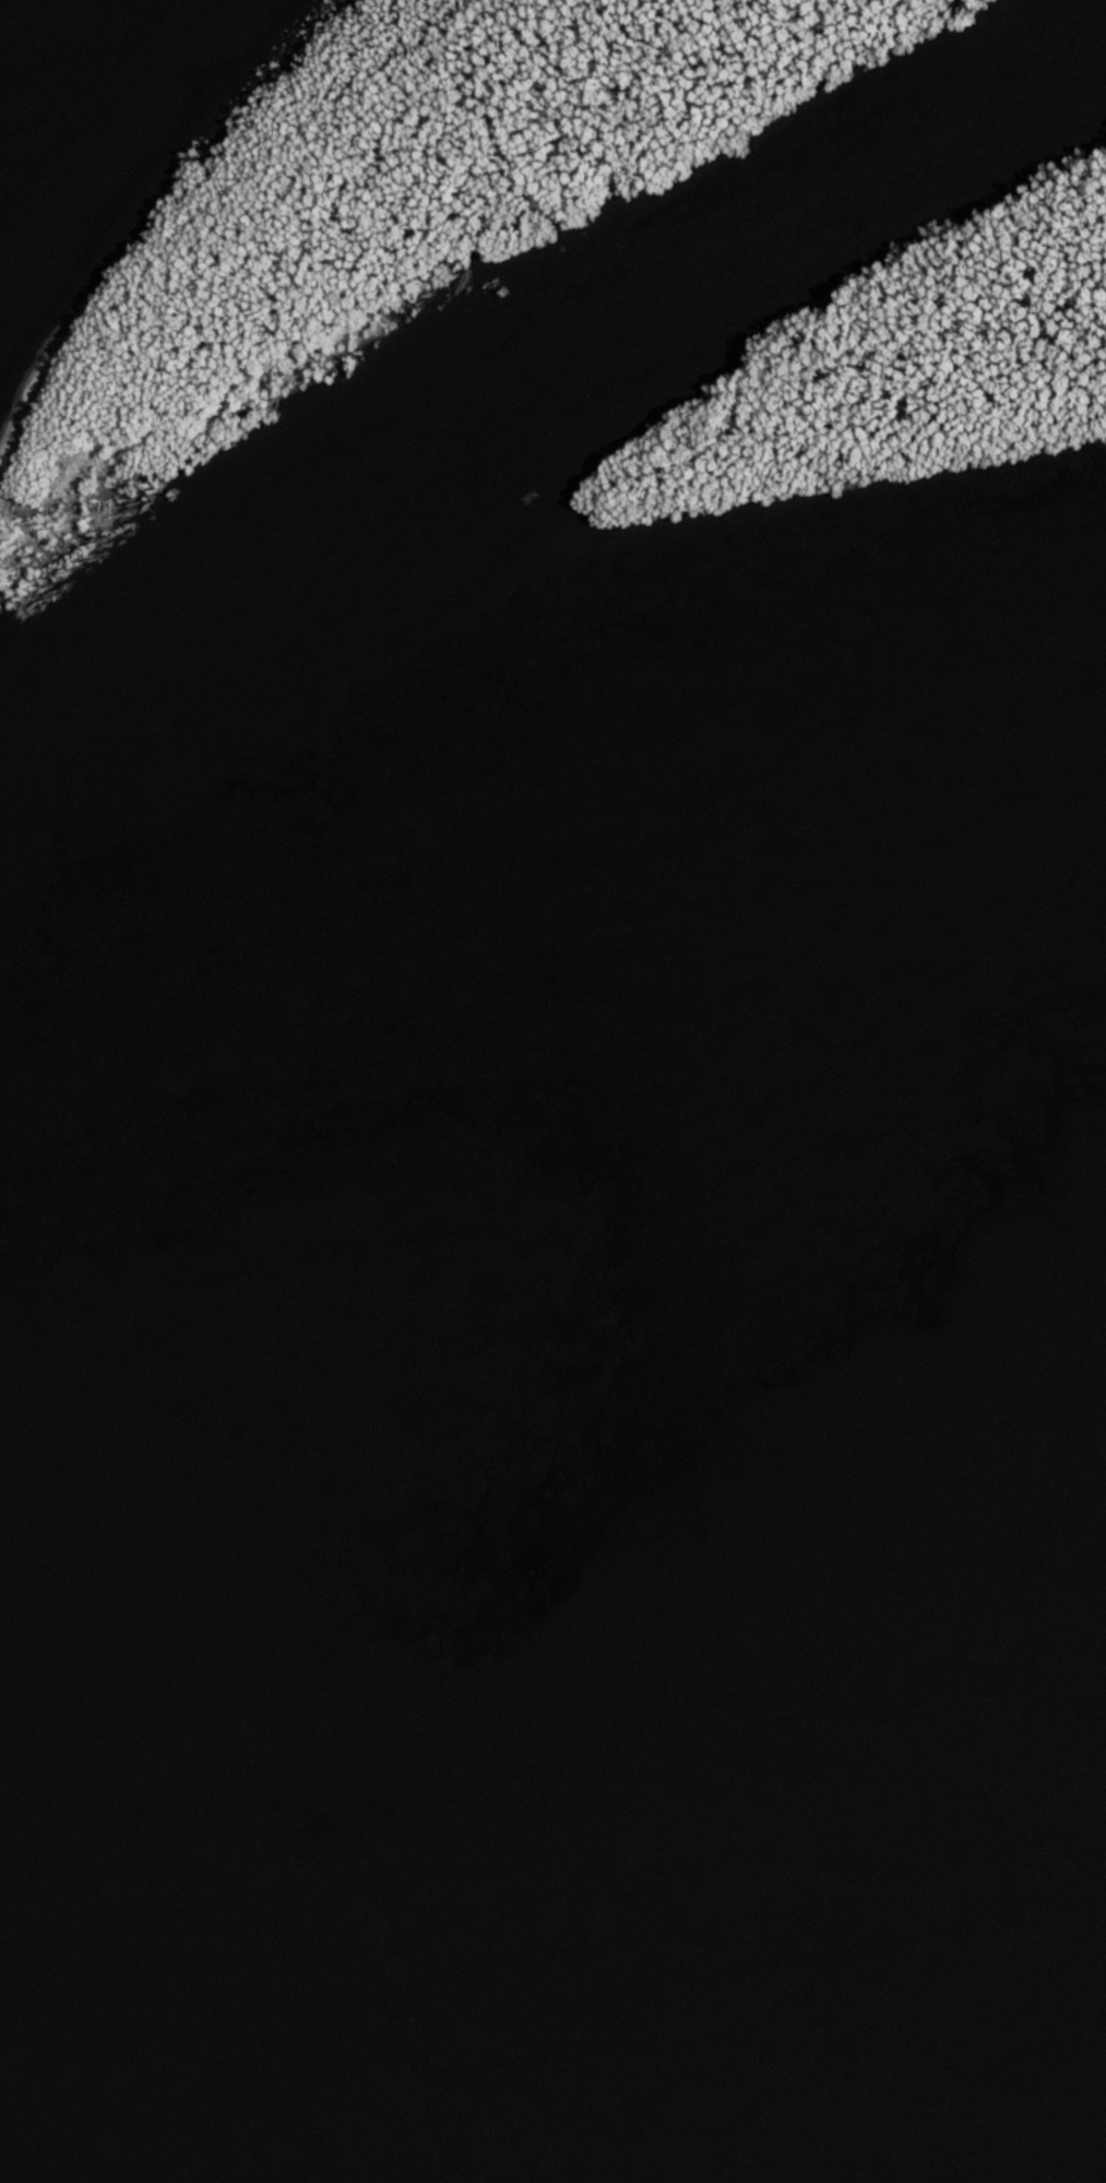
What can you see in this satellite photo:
river: (929, 2144)

